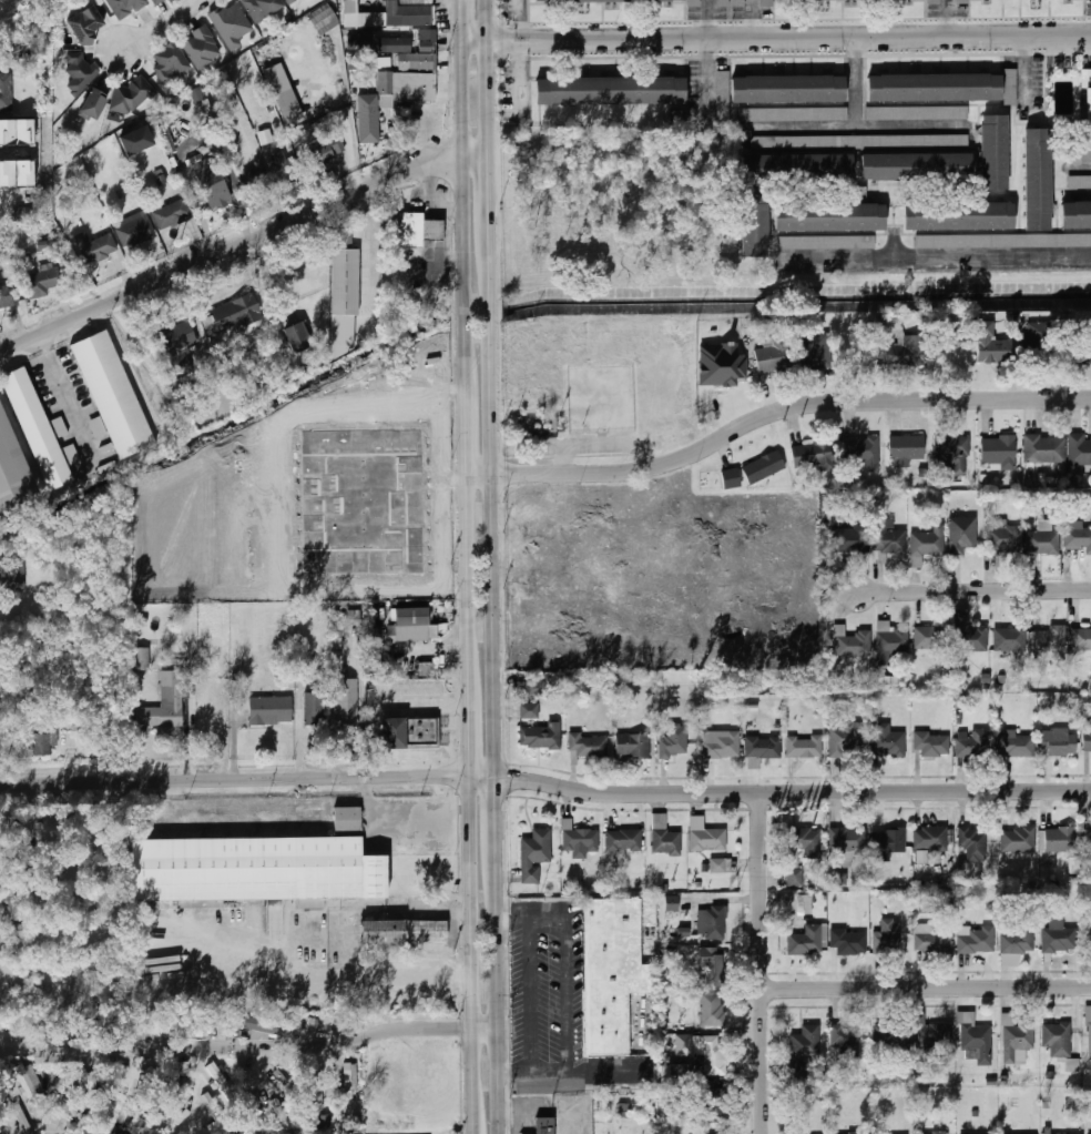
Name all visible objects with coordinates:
building: (584, 0)
building: (289, 1)
building: (694, 1)
building: (962, 1)
building: (768, 2)
building: (723, 3)
building: (125, 7)
building: (262, 8)
building: (408, 13)
building: (324, 19)
road: (707, 19)
road: (753, 19)
road: (461, 20)
building: (232, 23)
building: (85, 26)
road: (162, 26)
road: (776, 38)
building: (359, 42)
building: (202, 48)
building: (171, 62)
road: (489, 71)
building: (80, 74)
building: (399, 80)
building: (722, 85)
building: (1010, 87)
building: (935, 88)
building: (788, 89)
building: (611, 90)
building: (284, 93)
building: (197, 94)
building: (132, 95)
building: (1087, 102)
building: (4, 103)
building: (94, 103)
building: (917, 113)
building: (794, 114)
road: (859, 125)
road: (808, 126)
building: (135, 140)
building: (947, 140)
road: (9, 152)
building: (325, 152)
building: (995, 152)
building: (1083, 153)
road: (1082, 164)
building: (797, 166)
building: (916, 166)
building: (287, 168)
building: (256, 178)
building: (1038, 180)
building: (1080, 182)
building: (214, 186)
road: (490, 192)
road: (456, 209)
road: (466, 211)
building: (172, 214)
building: (1077, 214)
building: (959, 215)
building: (830, 217)
road: (446, 220)
building: (754, 225)
building: (418, 229)
building: (135, 230)
building: (343, 240)
building: (1002, 241)
building: (827, 242)
road: (243, 243)
building: (96, 247)
road: (959, 252)
road: (371, 255)
building: (43, 282)
building: (345, 295)
building: (8, 296)
building: (235, 313)
building: (181, 335)
building: (297, 337)
building: (1039, 342)
building: (991, 346)
building: (815, 350)
building: (908, 351)
building: (1080, 353)
building: (774, 356)
building: (726, 372)
building: (113, 395)
road: (773, 412)
building: (37, 428)
road: (466, 428)
road: (606, 438)
building: (907, 447)
building: (1044, 448)
building: (863, 450)
building: (999, 452)
building: (1079, 453)
building: (954, 454)
building: (814, 455)
road: (565, 456)
building: (764, 467)
building: (12, 472)
building: (732, 478)
road: (496, 507)
building: (961, 534)
building: (1077, 536)
building: (888, 537)
building: (1003, 537)
building: (852, 539)
building: (928, 541)
building: (1042, 541)
road: (468, 574)
building: (12, 576)
road: (972, 589)
building: (410, 625)
building: (969, 634)
building: (891, 638)
building: (931, 638)
building: (1010, 638)
building: (1050, 638)
building: (1082, 638)
building: (853, 641)
building: (141, 658)
building: (427, 669)
building: (530, 689)
building: (164, 703)
building: (347, 703)
building: (315, 708)
building: (271, 710)
building: (529, 710)
road: (471, 722)
building: (409, 733)
building: (543, 736)
building: (1087, 738)
building: (674, 739)
building: (845, 739)
building: (888, 742)
building: (973, 742)
building: (1059, 742)
building: (42, 743)
building: (590, 745)
building: (632, 745)
building: (932, 745)
building: (1016, 745)
building: (718, 747)
building: (764, 747)
building: (804, 747)
road: (249, 776)
road: (794, 791)
road: (499, 817)
building: (348, 819)
building: (54, 834)
building: (666, 836)
building: (930, 838)
building: (1089, 838)
building: (1059, 839)
building: (580, 840)
building: (625, 840)
building: (708, 840)
building: (889, 840)
building: (1020, 840)
building: (975, 841)
building: (848, 842)
building: (801, 850)
building: (536, 854)
building: (718, 865)
building: (255, 872)
building: (672, 903)
building: (804, 904)
building: (713, 922)
building: (401, 934)
building: (889, 934)
building: (1058, 936)
building: (807, 940)
building: (848, 940)
building: (931, 940)
building: (1018, 940)
building: (977, 941)
building: (1088, 941)
road: (285, 944)
road: (473, 948)
road: (762, 963)
building: (712, 966)
building: (613, 968)
road: (927, 985)
parking lot: (549, 989)
road: (569, 992)
road: (531, 993)
road: (500, 996)
building: (712, 1009)
building: (264, 1024)
building: (150, 1030)
road: (487, 1030)
building: (1089, 1034)
building: (931, 1035)
building: (891, 1036)
building: (1058, 1039)
building: (846, 1040)
building: (978, 1040)
building: (1016, 1040)
road: (238, 1047)
building: (804, 1050)
building: (707, 1055)
building: (675, 1071)
building: (85, 1076)
building: (349, 1076)
building: (218, 1077)
building: (1021, 1077)
building: (113, 1079)
building: (28, 1080)
building: (715, 1104)
building: (214, 1110)
building: (245, 1115)
building: (58, 1116)
building: (547, 1122)
road: (476, 1128)
building: (799, 1130)
building: (530, 1132)
building: (854, 1132)
building: (931, 1133)
building: (1079, 1133)

